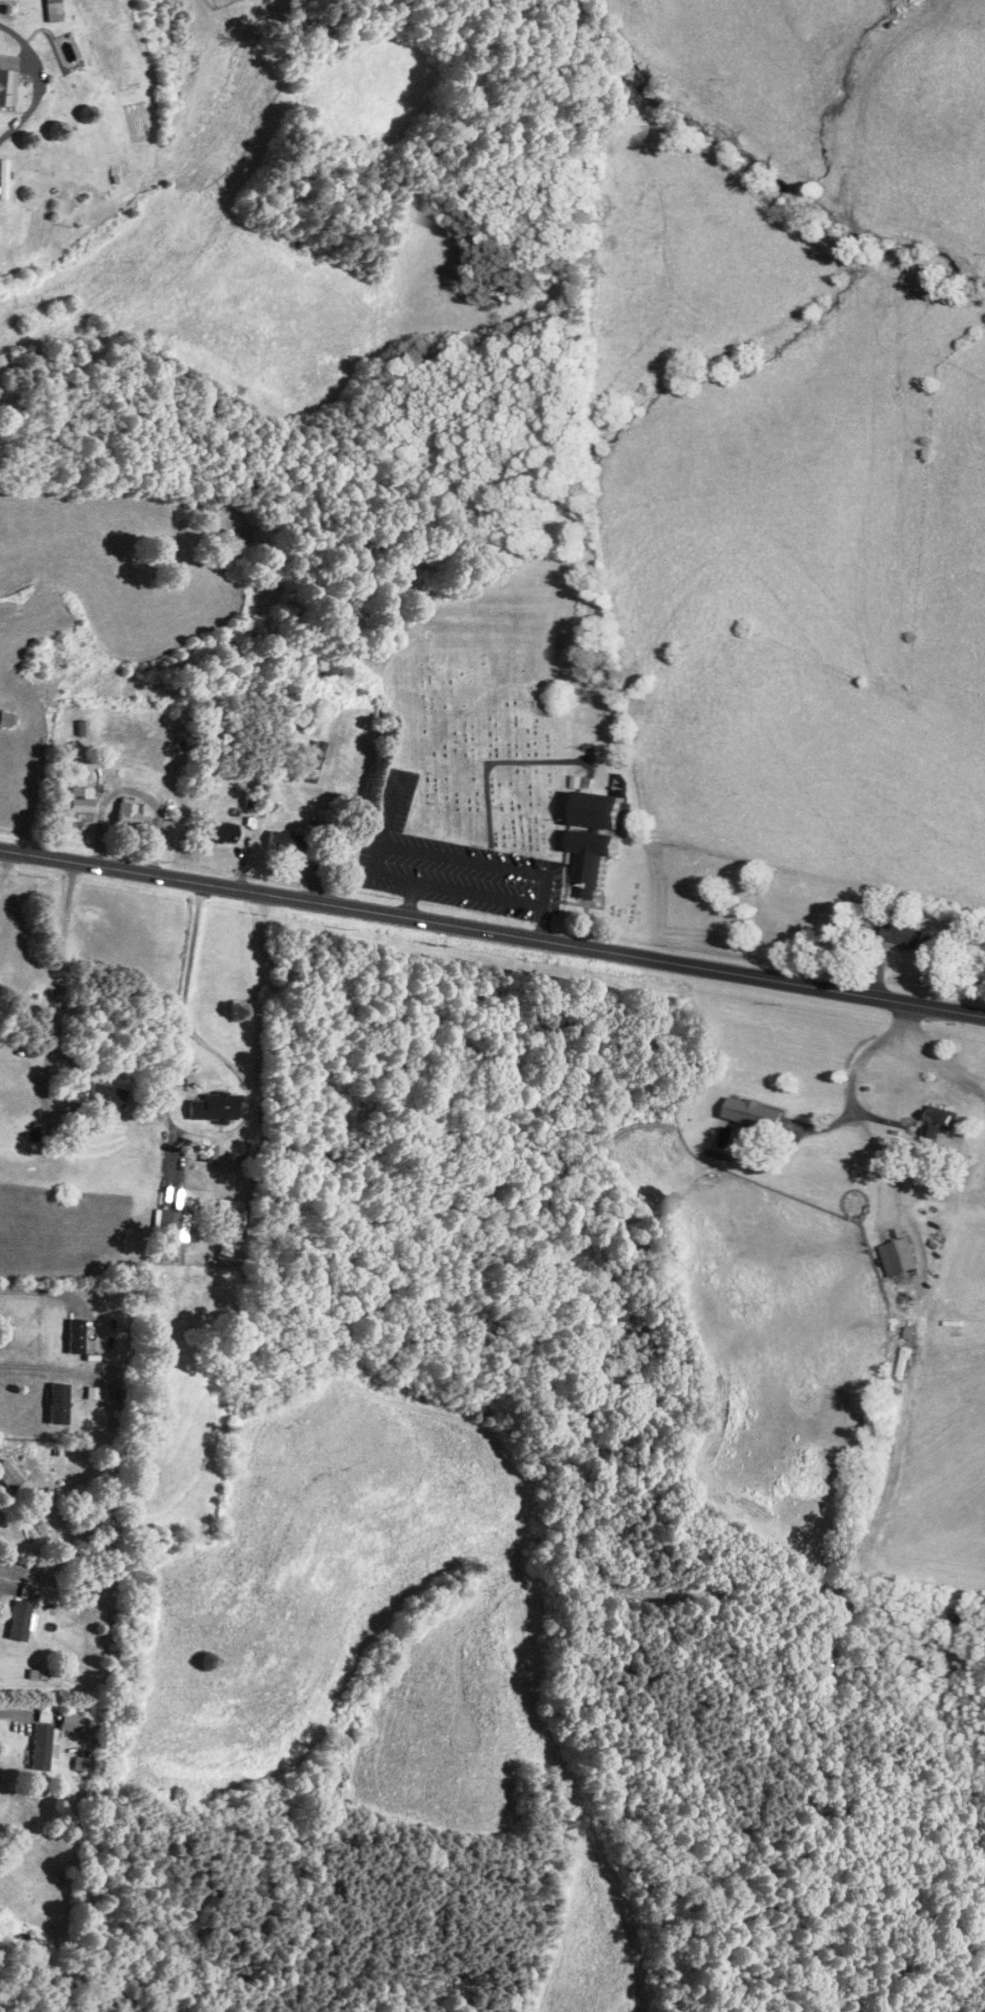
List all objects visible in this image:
building: (53, 11)
building: (7, 80)
road: (38, 80)
building: (3, 177)
building: (8, 718)
building: (314, 761)
building: (80, 805)
building: (605, 810)
building: (129, 813)
building: (222, 832)
building: (286, 842)
building: (595, 860)
road: (492, 931)
building: (907, 936)
building: (107, 1095)
building: (213, 1107)
building: (755, 1113)
building: (939, 1122)
building: (172, 1225)
building: (899, 1256)
road: (38, 1289)
building: (75, 1336)
road: (41, 1364)
building: (59, 1404)
building: (9, 1476)
road: (7, 1586)
building: (18, 1620)
road: (12, 1712)
building: (40, 1746)

